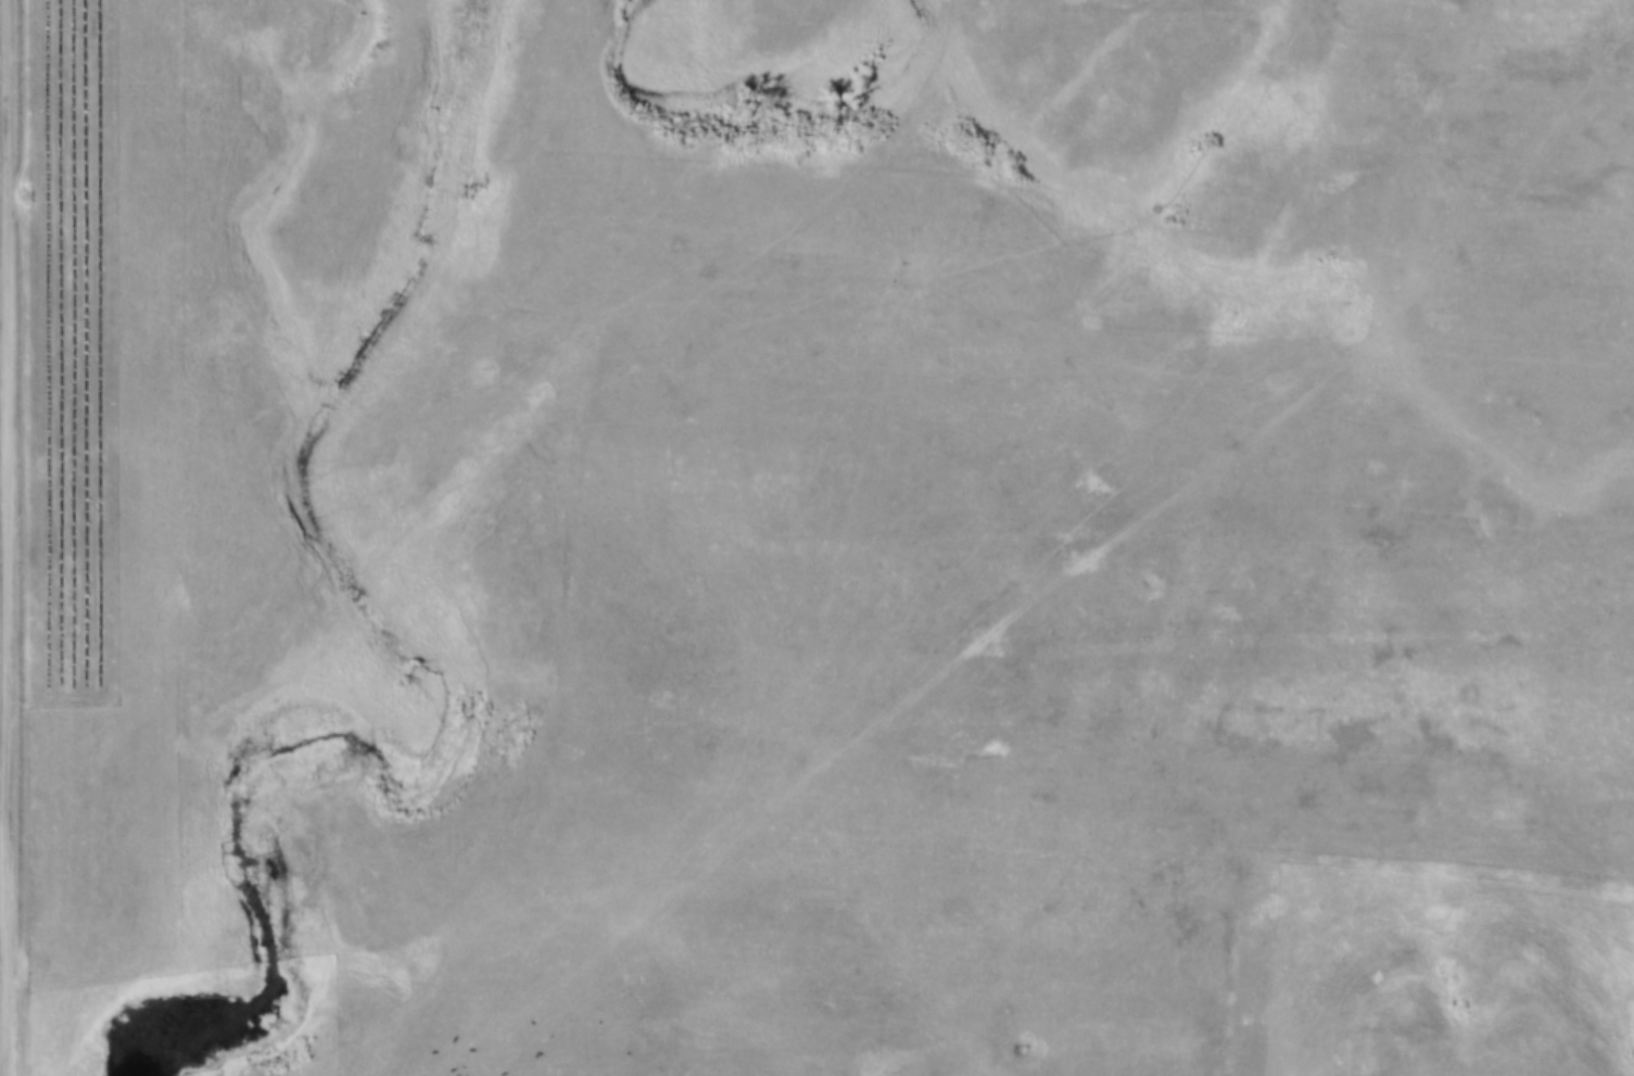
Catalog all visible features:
road: (7, 537)
road: (0, 965)
road: (436, 972)

